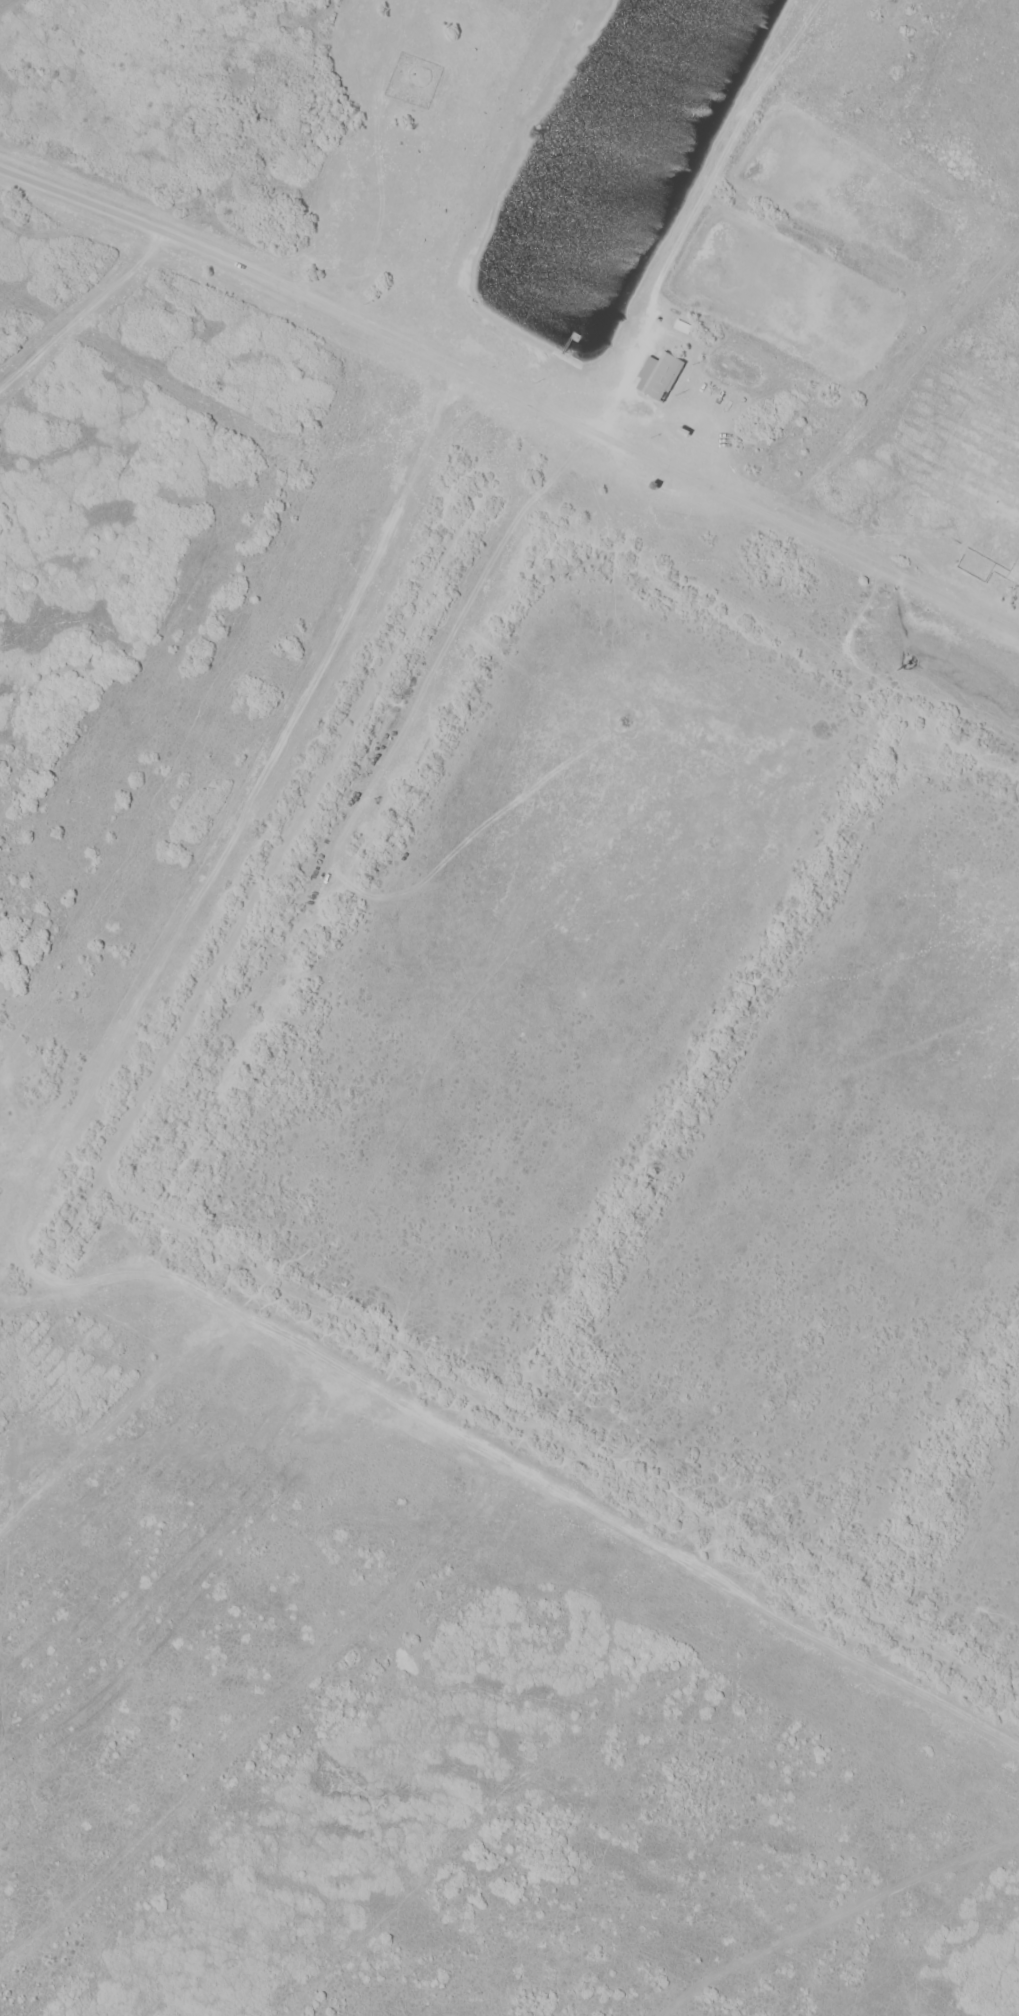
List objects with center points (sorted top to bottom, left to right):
road: (84, 299)
road: (514, 367)
building: (658, 377)

